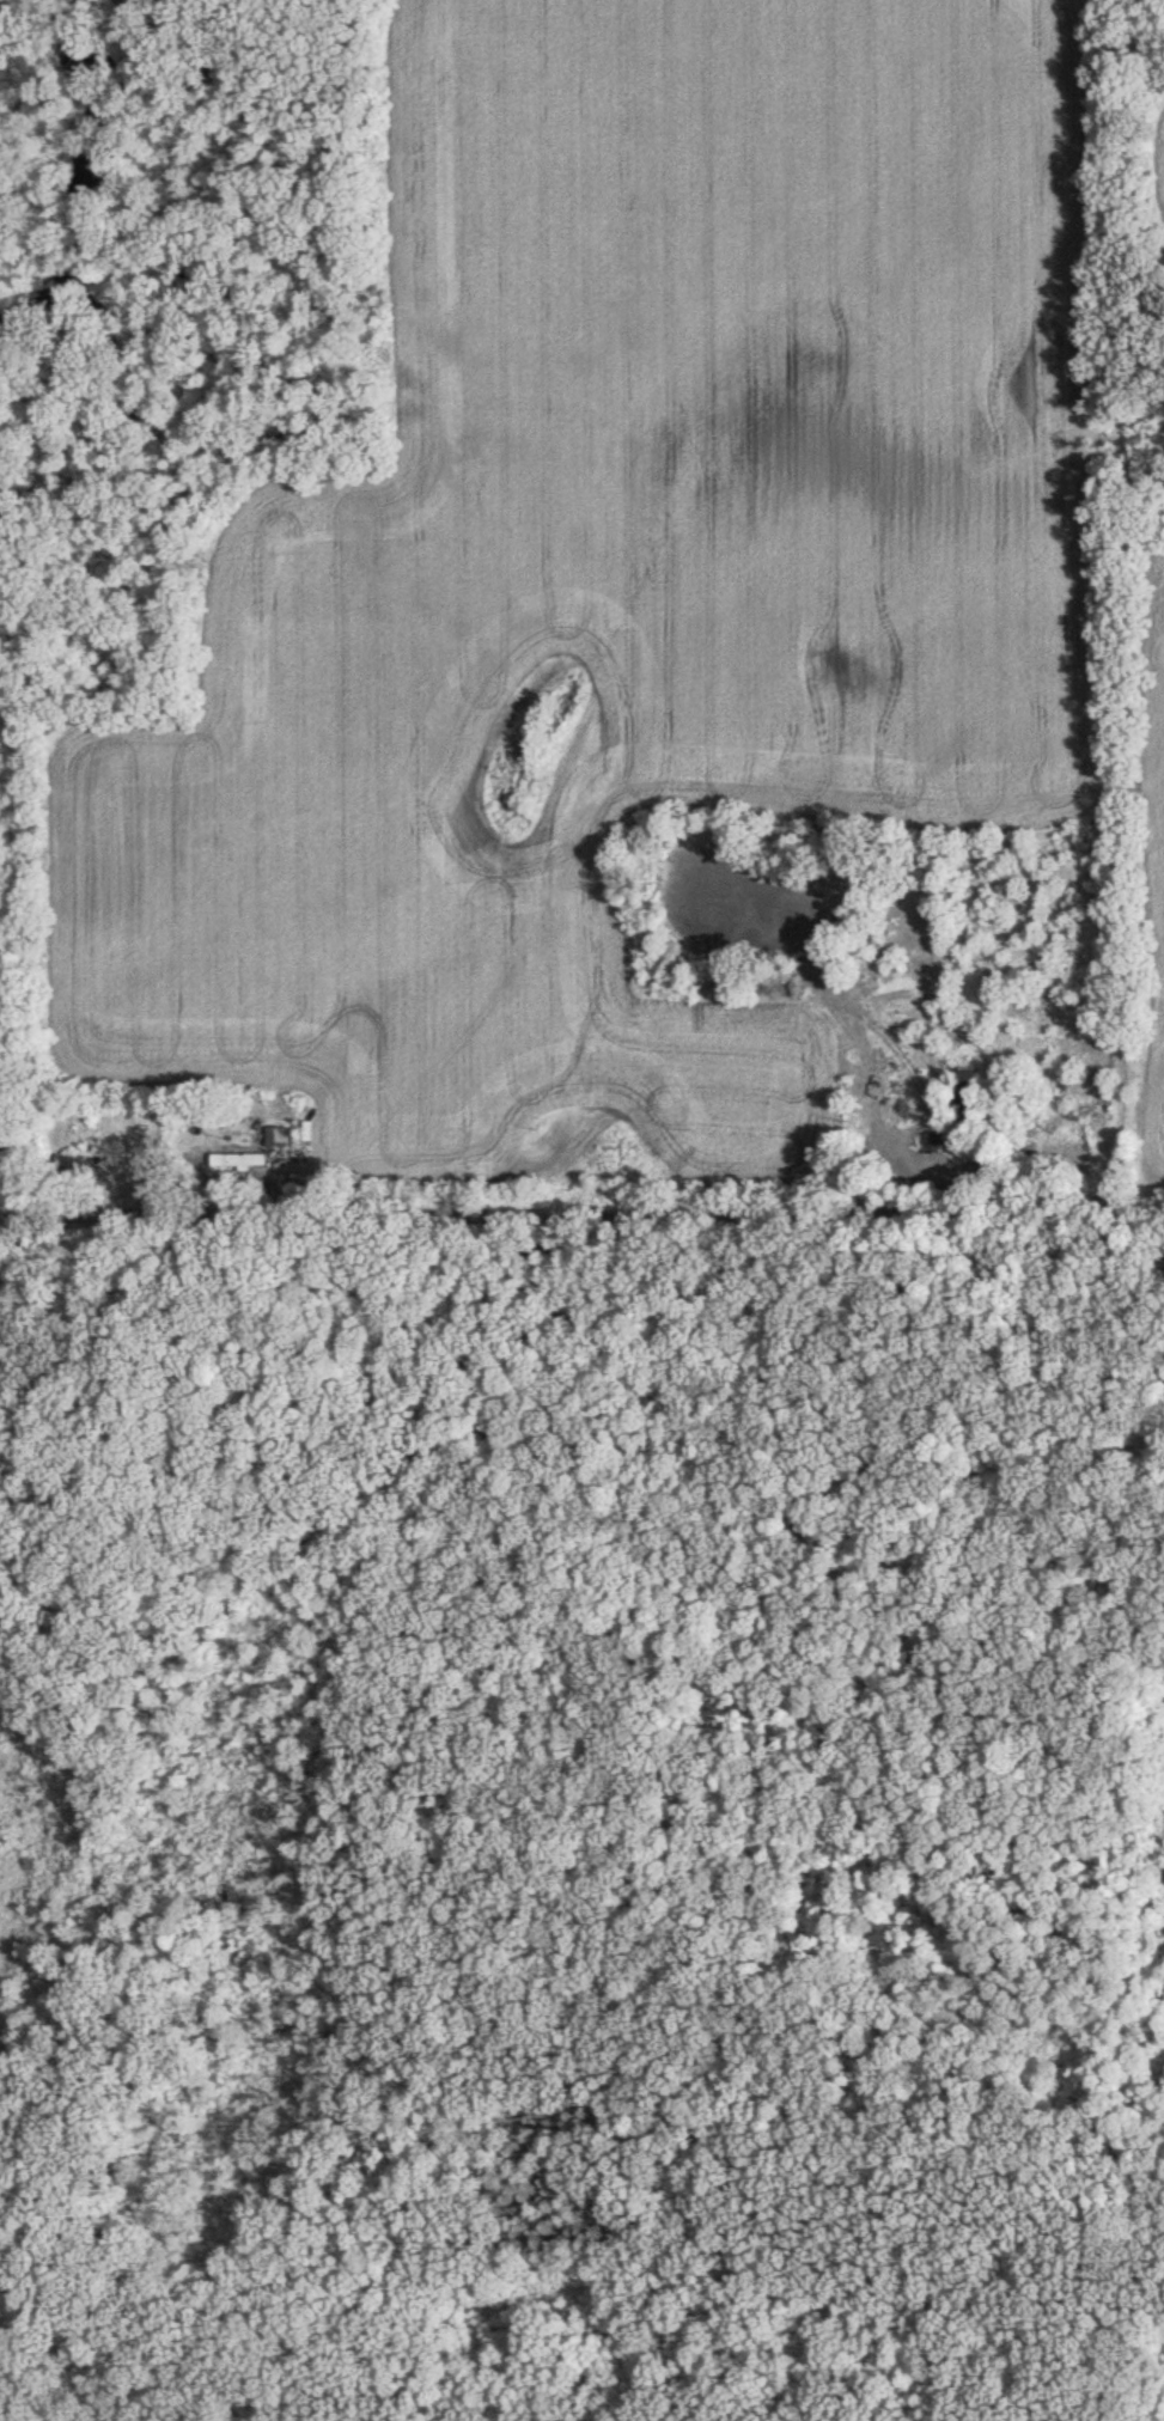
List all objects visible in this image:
building: (961, 1094)
building: (274, 1136)
building: (1080, 1140)
building: (928, 1154)
building: (238, 1161)
building: (78, 1164)
road: (581, 1221)

